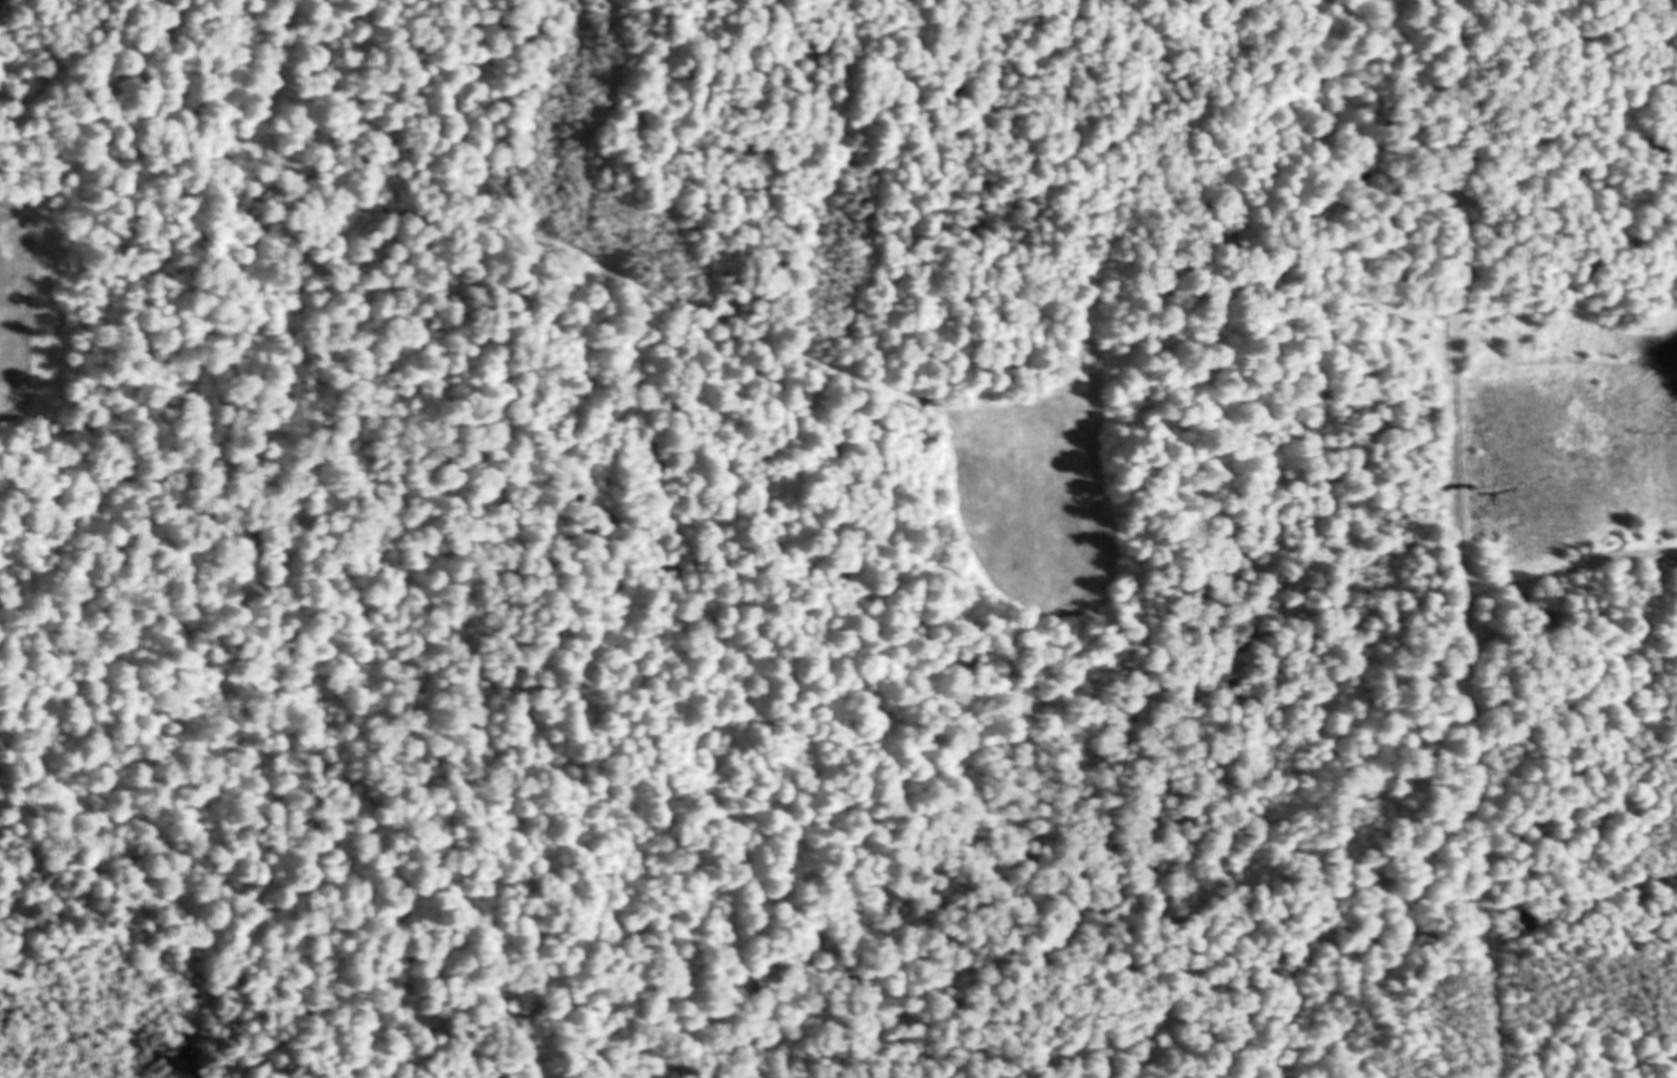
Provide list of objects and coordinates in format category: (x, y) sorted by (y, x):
road: (1460, 538)

